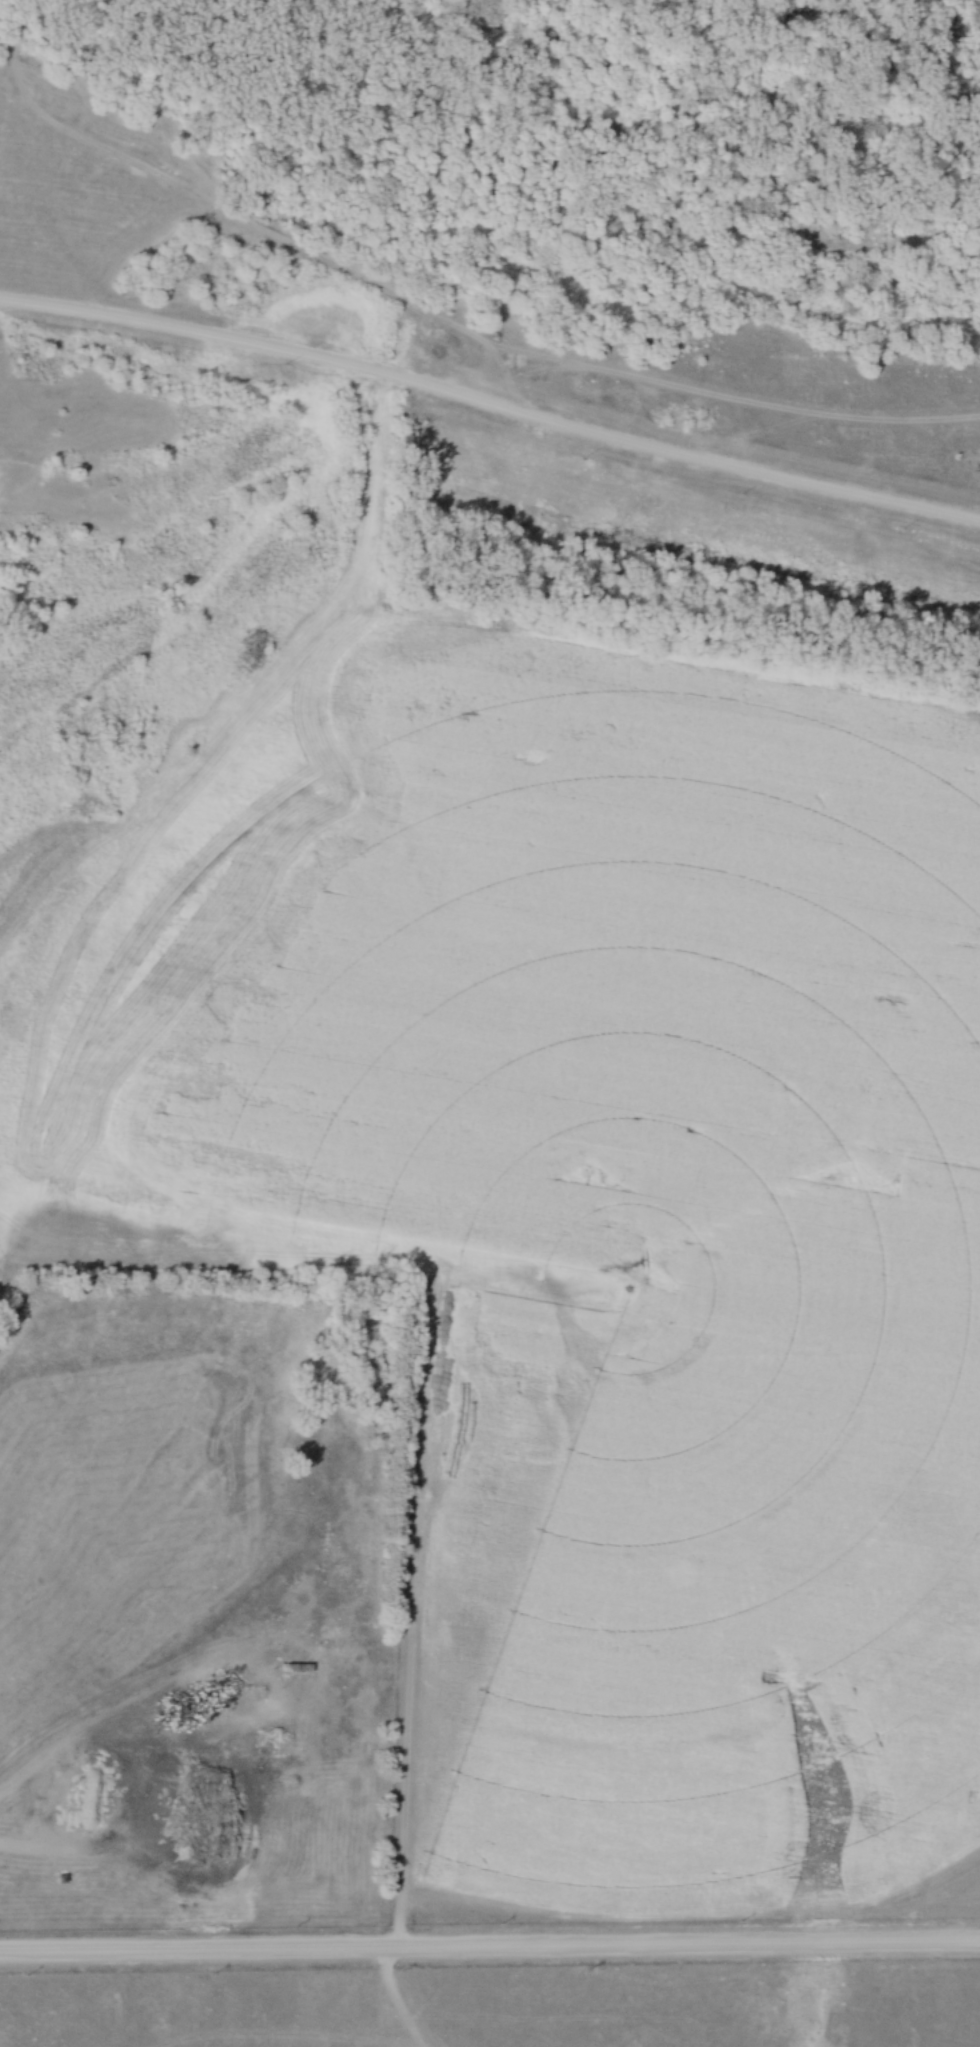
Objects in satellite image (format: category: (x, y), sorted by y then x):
road: (491, 403)
road: (69, 1725)
road: (490, 1951)

